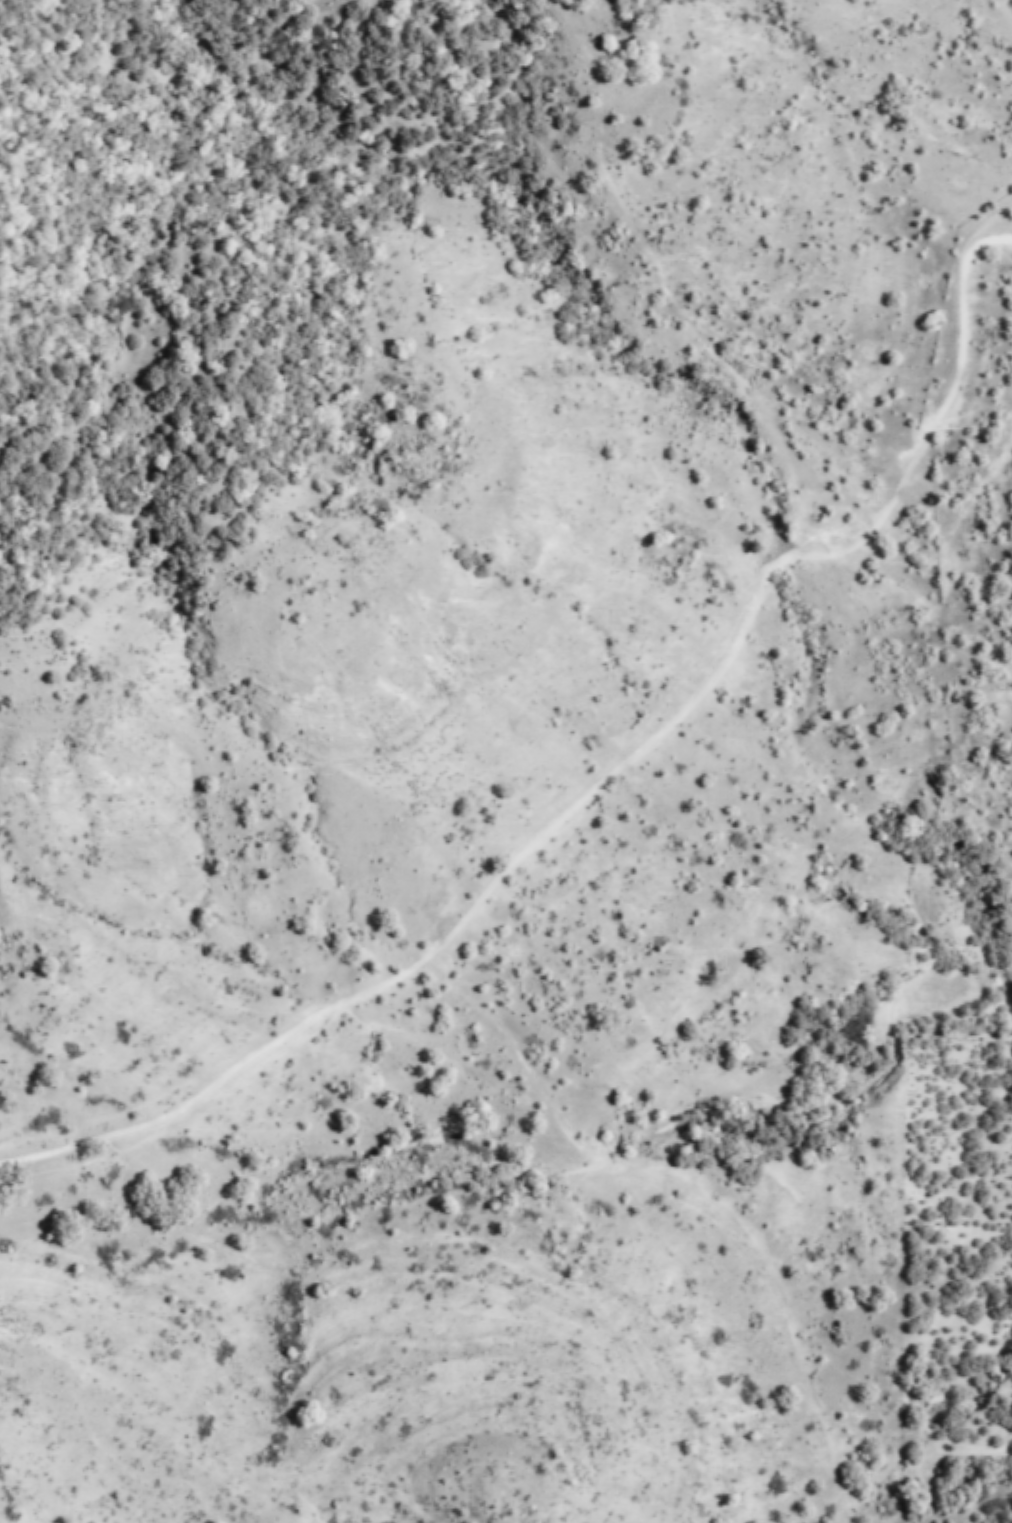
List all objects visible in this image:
road: (604, 781)

